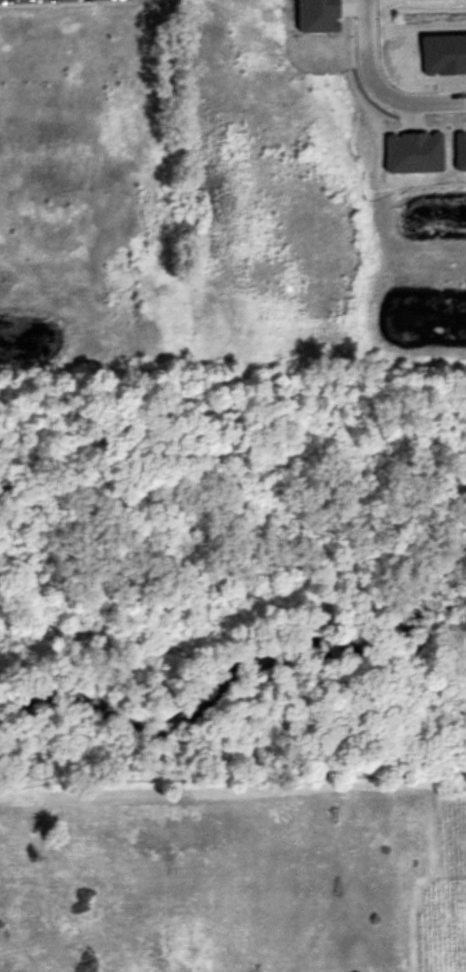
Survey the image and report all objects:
road: (377, 90)
river: (238, 670)

